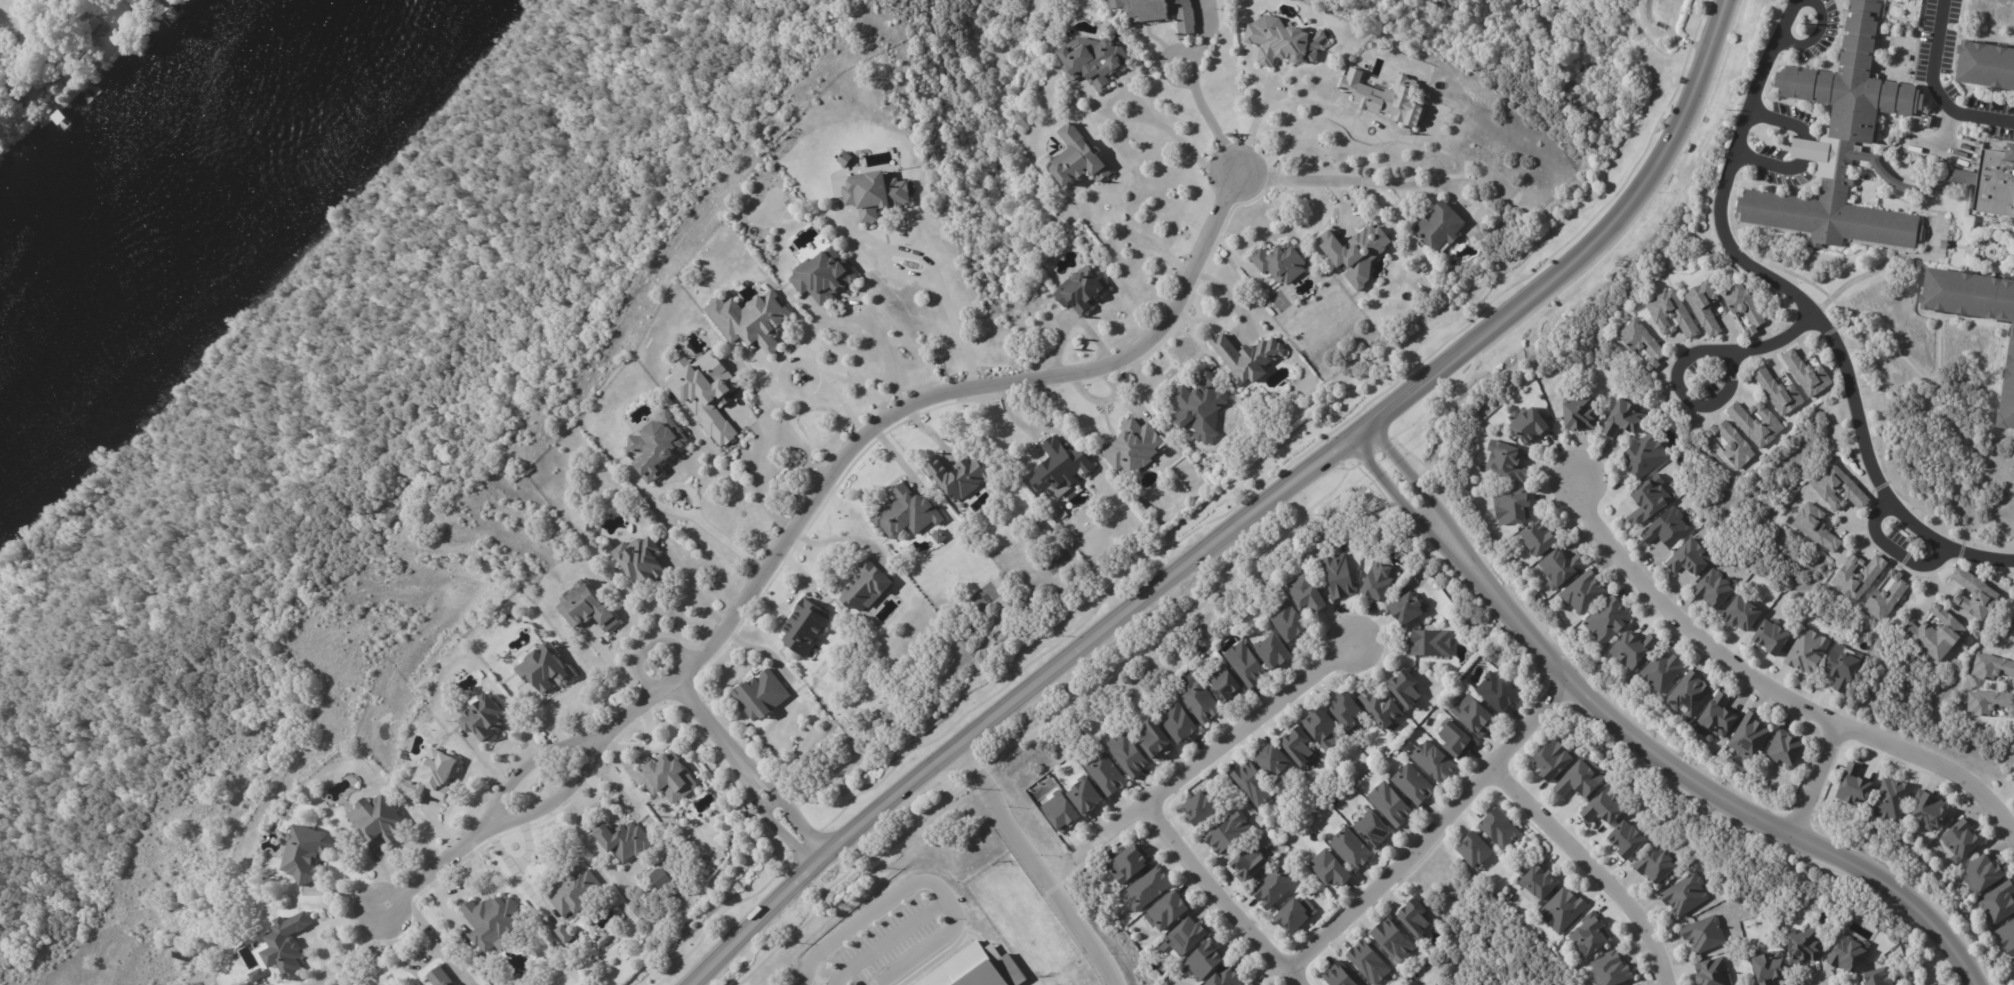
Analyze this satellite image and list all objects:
building: (1164, 12)
road: (15, 20)
building: (1101, 22)
building: (92, 26)
road: (1813, 34)
building: (1285, 40)
building: (1094, 59)
building: (58, 60)
building: (1983, 61)
building: (14, 86)
road: (1936, 86)
building: (1385, 95)
building: (24, 108)
road: (1206, 112)
building: (1025, 117)
road: (1777, 117)
road: (1255, 119)
road: (1338, 120)
road: (1804, 140)
building: (1844, 140)
road: (1186, 143)
building: (1077, 156)
building: (846, 158)
road: (1771, 164)
road: (1351, 179)
building: (1997, 183)
river: (183, 189)
building: (877, 192)
road: (1341, 201)
building: (1442, 225)
road: (1151, 245)
building: (1947, 246)
building: (1357, 254)
building: (1284, 263)
building: (825, 274)
road: (937, 286)
building: (1080, 287)
road: (1805, 305)
building: (1745, 308)
building: (1705, 309)
building: (1674, 315)
building: (763, 321)
building: (1645, 343)
road: (1687, 355)
road: (887, 358)
building: (1249, 359)
building: (2000, 367)
building: (1808, 375)
building: (709, 392)
building: (1781, 393)
road: (838, 398)
road: (1388, 403)
building: (1202, 405)
road: (904, 409)
building: (1583, 413)
building: (1627, 417)
building: (1758, 423)
building: (1529, 425)
building: (1733, 444)
building: (658, 445)
building: (1134, 446)
building: (1648, 455)
building: (1507, 460)
building: (1062, 468)
building: (962, 477)
road: (1411, 477)
road: (755, 484)
building: (1841, 489)
road: (1392, 493)
building: (1651, 500)
building: (1514, 506)
building: (907, 512)
building: (591, 526)
building: (1817, 526)
building: (1668, 528)
building: (1540, 538)
road: (730, 542)
building: (1912, 548)
road: (1891, 550)
building: (639, 556)
building: (1693, 558)
building: (1563, 568)
building: (1340, 576)
building: (1860, 576)
building: (1381, 581)
building: (864, 585)
building: (1717, 589)
building: (1586, 593)
building: (1308, 594)
building: (1977, 595)
road: (696, 597)
building: (1887, 597)
building: (586, 604)
building: (1411, 608)
building: (1741, 615)
building: (1291, 620)
building: (1609, 621)
building: (803, 624)
building: (1490, 632)
building: (1939, 634)
building: (2011, 636)
building: (1772, 637)
building: (1432, 642)
building: (1636, 649)
building: (1809, 650)
building: (1275, 652)
building: (661, 663)
building: (1248, 664)
building: (1846, 666)
building: (1991, 667)
building: (547, 669)
building: (1663, 670)
road: (617, 676)
building: (2013, 682)
building: (1226, 686)
building: (1407, 687)
road: (1764, 687)
building: (1499, 693)
building: (1690, 694)
building: (763, 695)
building: (1203, 702)
building: (1989, 702)
building: (1380, 708)
building: (1350, 713)
building: (1475, 715)
building: (1718, 716)
building: (485, 717)
road: (704, 718)
building: (1181, 722)
building: (1326, 728)
building: (1752, 735)
building: (1458, 740)
building: (1158, 741)
building: (1299, 745)
building: (1788, 749)
road: (1215, 752)
building: (406, 755)
building: (1130, 755)
building: (1555, 759)
building: (1276, 760)
building: (1435, 762)
road: (533, 763)
building: (437, 774)
building: (1108, 775)
building: (1582, 778)
building: (2013, 778)
building: (670, 779)
road: (1814, 780)
building: (1257, 784)
road: (1695, 784)
building: (1414, 785)
building: (1856, 786)
road: (560, 797)
building: (1088, 797)
road: (783, 800)
building: (1891, 801)
building: (1392, 805)
building: (1608, 807)
building: (1204, 808)
building: (1930, 809)
building: (1062, 812)
road: (766, 815)
building: (380, 822)
road: (1428, 829)
building: (1502, 829)
building: (1229, 833)
building: (1376, 833)
building: (1629, 839)
building: (626, 840)
building: (1963, 840)
road: (527, 846)
building: (1352, 850)
building: (1477, 851)
building: (307, 853)
road: (826, 857)
building: (1132, 864)
road: (438, 865)
building: (1251, 865)
building: (1658, 865)
road: (511, 866)
road: (1591, 867)
road: (1034, 868)
building: (1331, 869)
building: (1984, 874)
building: (660, 877)
road: (917, 882)
building: (1540, 885)
building: (1150, 888)
building: (1275, 888)
building: (576, 891)
building: (1687, 895)
road: (1217, 898)
building: (2000, 903)
building: (1564, 910)
building: (1171, 911)
building: (1296, 917)
building: (1416, 918)
building: (493, 921)
building: (1588, 934)
building: (1706, 934)
building: (565, 935)
building: (1190, 936)
building: (2008, 936)
road: (434, 939)
road: (888, 942)
building: (1394, 942)
building: (1804, 945)
building: (286, 946)
road: (375, 946)
building: (1847, 951)
road: (398, 958)
building: (1205, 962)
building: (1371, 963)
building: (2013, 964)
building: (1765, 965)
building: (977, 968)
building: (1614, 969)
building: (1714, 973)
building: (1878, 975)
building: (1342, 976)
building: (441, 977)
building: (1226, 977)
building: (1251, 983)
building: (457, 984)

